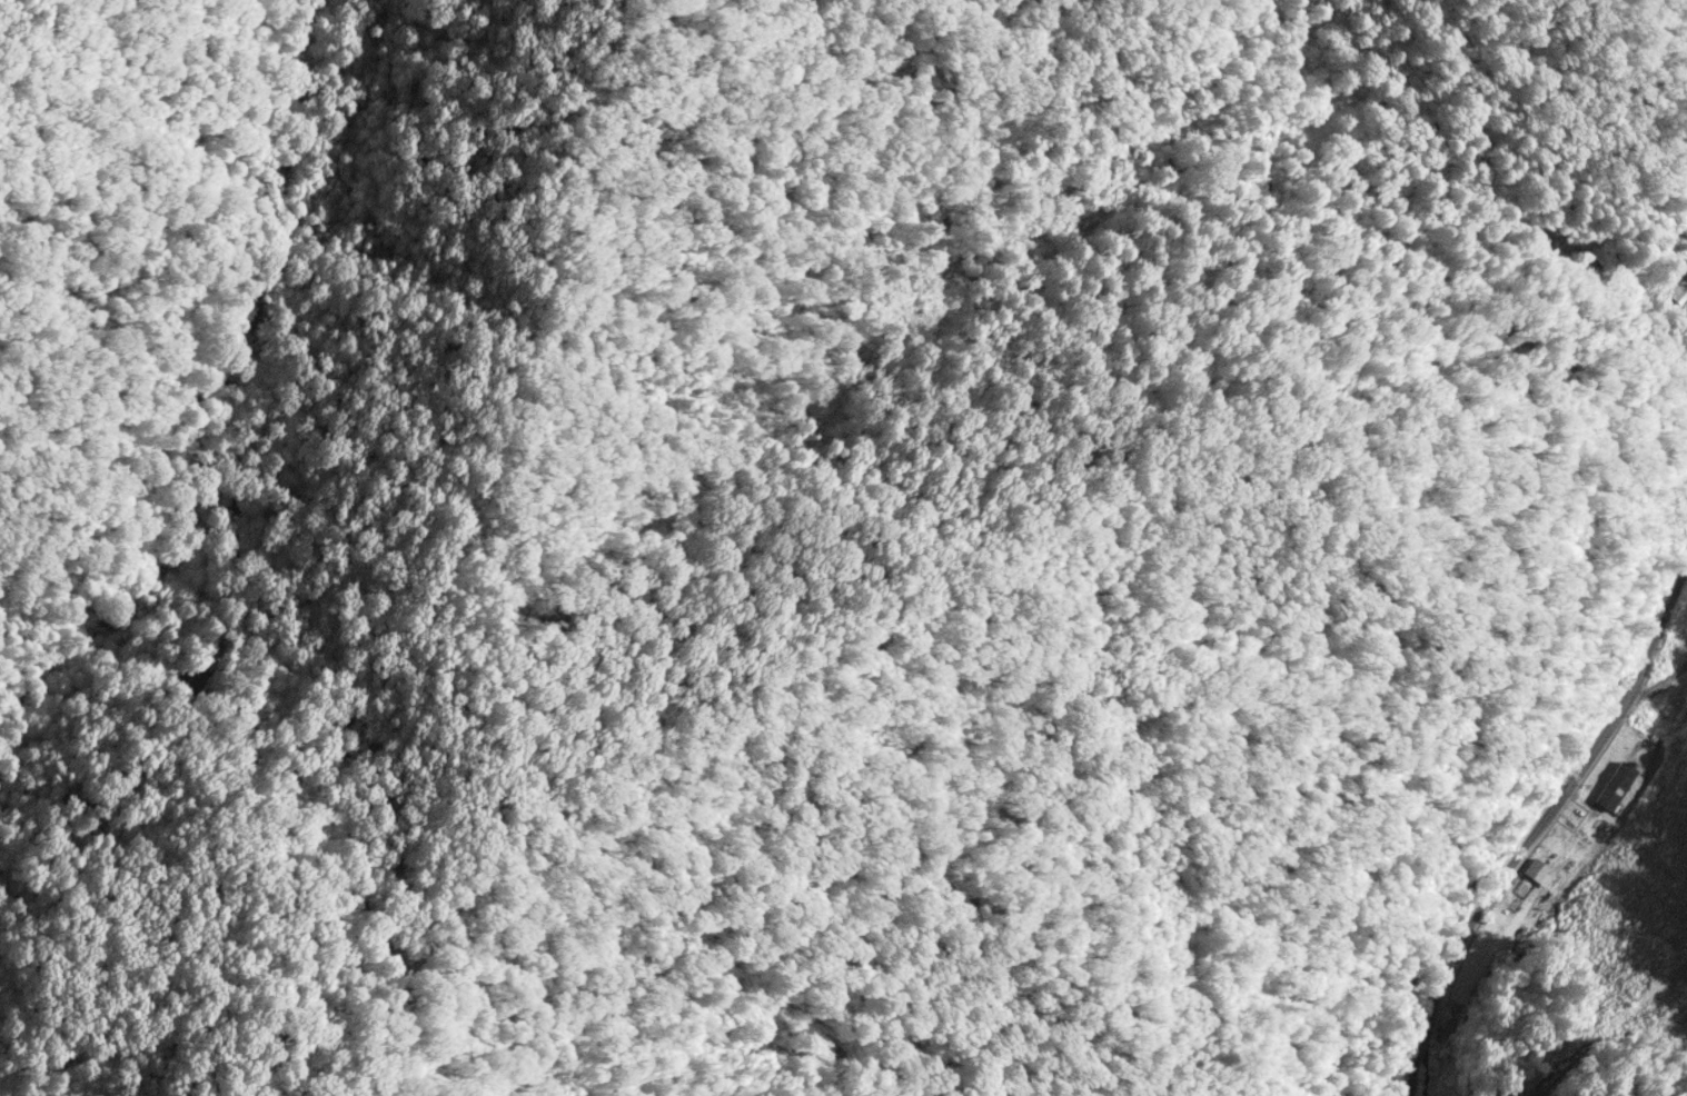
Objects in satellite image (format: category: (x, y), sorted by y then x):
building: (1678, 292)
road: (1551, 859)

